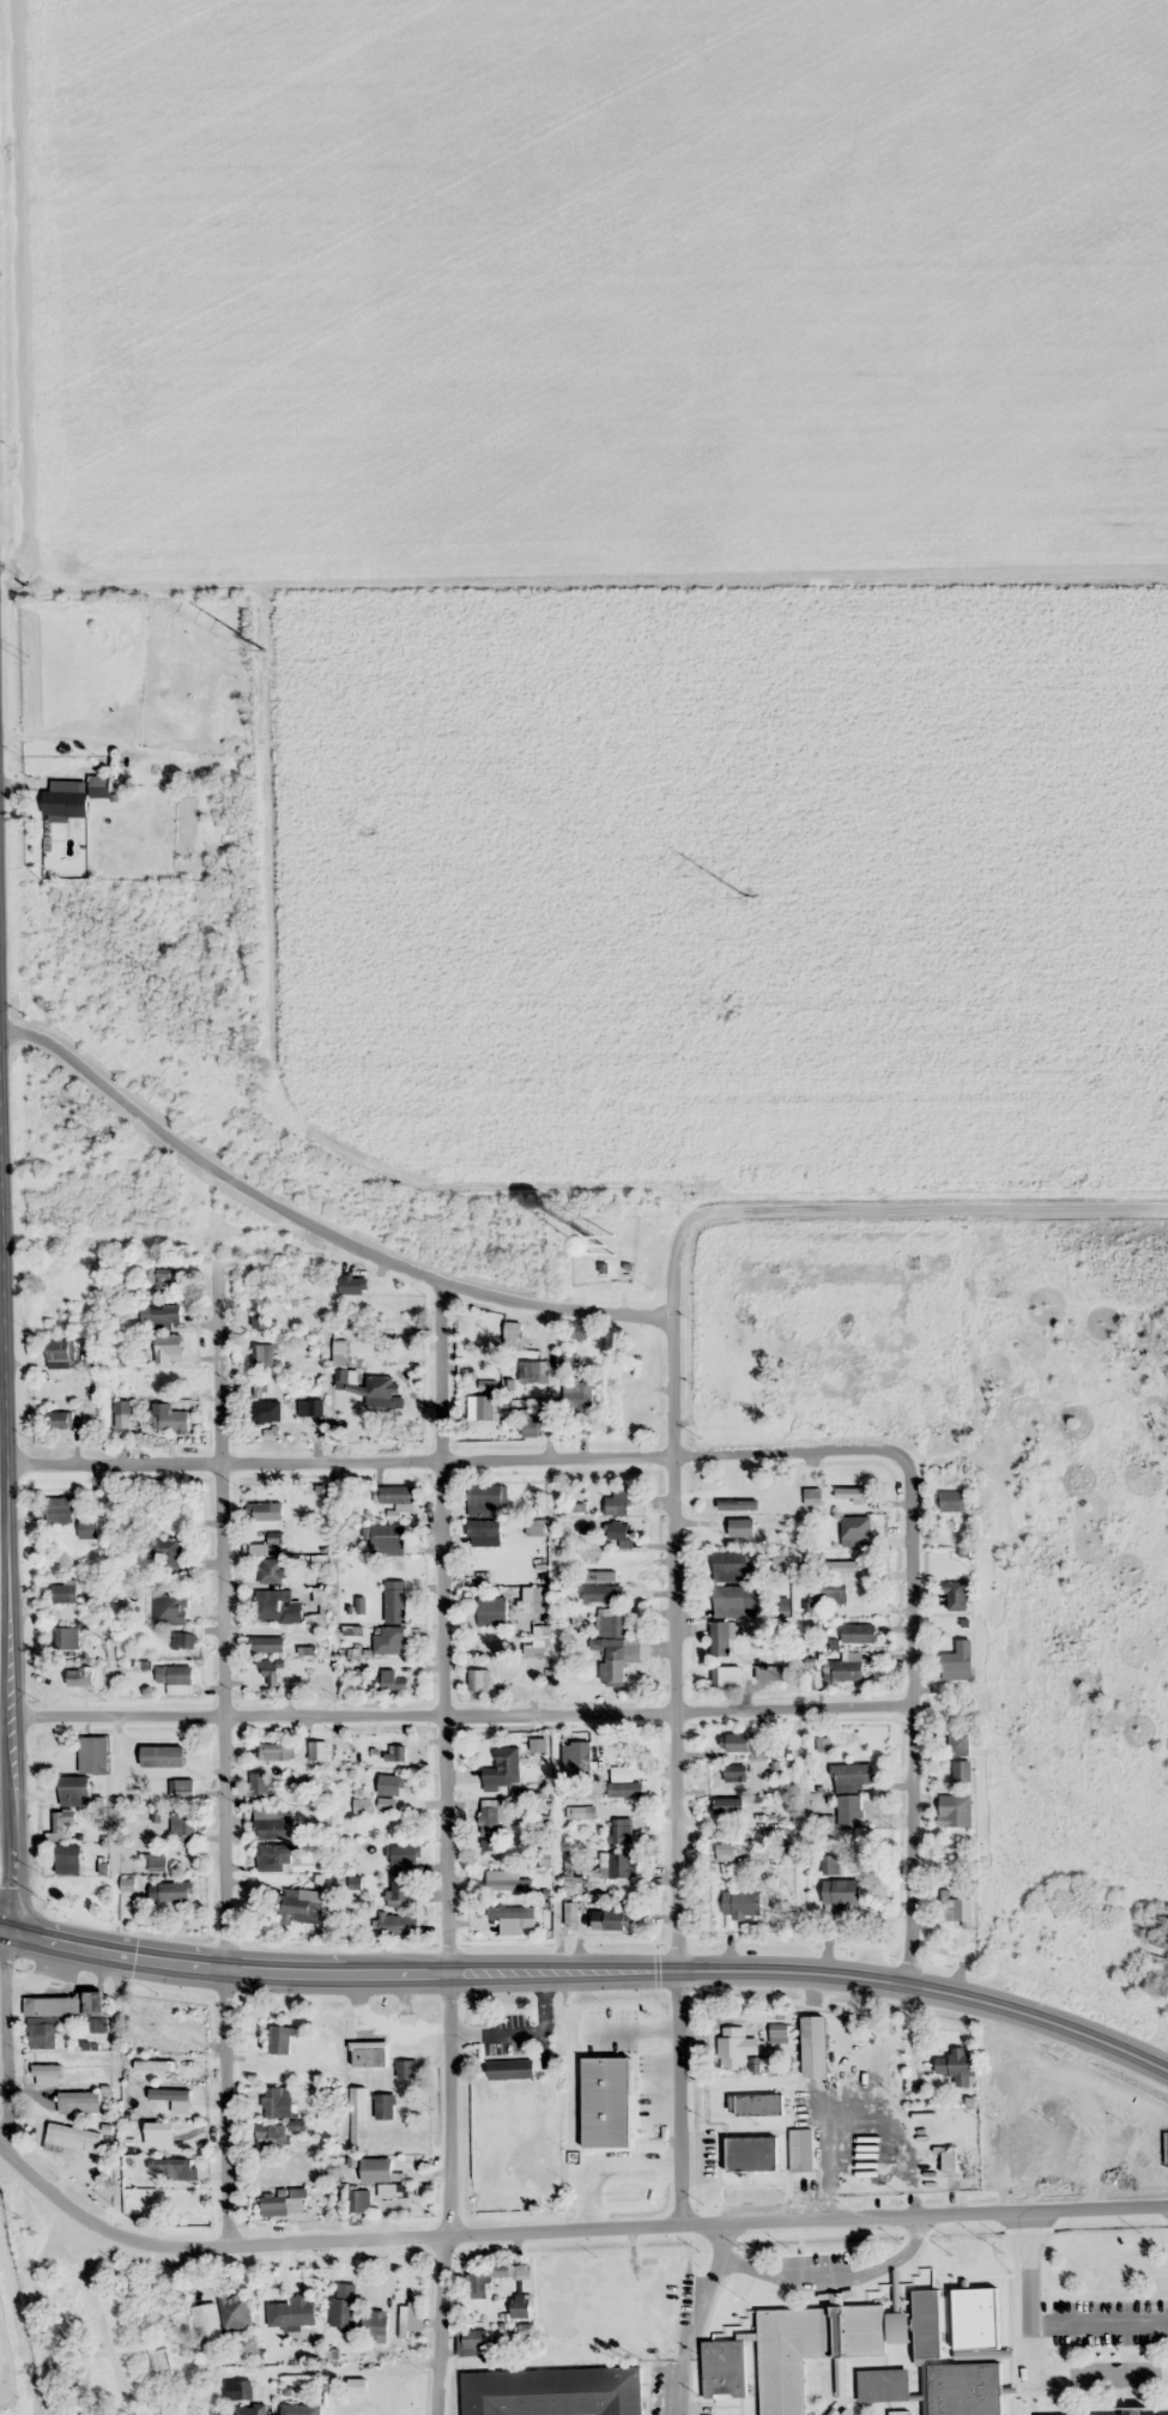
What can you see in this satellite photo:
power tower: (264, 650)
power tower: (23, 657)
building: (98, 786)
building: (65, 804)
power tower: (364, 831)
power tower: (748, 896)
power tower: (720, 1009)
power tower: (1076, 1188)
road: (926, 1208)
road: (313, 1226)
road: (176, 1232)
building: (605, 1251)
building: (159, 1275)
building: (353, 1286)
building: (58, 1315)
building: (159, 1316)
building: (261, 1321)
building: (577, 1330)
building: (167, 1347)
building: (60, 1354)
building: (264, 1356)
building: (532, 1373)
building: (364, 1383)
road: (577, 1383)
building: (583, 1391)
building: (765, 1399)
building: (483, 1406)
building: (309, 1408)
building: (266, 1413)
building: (122, 1414)
building: (169, 1419)
building: (635, 1419)
building: (58, 1420)
building: (531, 1429)
road: (793, 1451)
road: (341, 1462)
road: (8, 1480)
building: (851, 1492)
building: (395, 1493)
building: (812, 1496)
building: (486, 1501)
building: (951, 1501)
building: (617, 1503)
building: (59, 1509)
building: (266, 1510)
building: (742, 1527)
building: (534, 1528)
building: (87, 1529)
building: (619, 1530)
building: (855, 1530)
building: (483, 1533)
building: (387, 1539)
building: (165, 1553)
building: (730, 1566)
building: (270, 1570)
building: (840, 1580)
building: (63, 1593)
building: (601, 1593)
road: (676, 1594)
building: (957, 1595)
road: (223, 1599)
building: (394, 1601)
building: (728, 1601)
building: (273, 1604)
building: (169, 1607)
building: (492, 1611)
building: (613, 1626)
road: (443, 1630)
building: (858, 1634)
building: (66, 1637)
building: (183, 1640)
building: (389, 1640)
building: (720, 1640)
building: (266, 1643)
building: (612, 1661)
building: (958, 1661)
building: (842, 1670)
building: (270, 1672)
building: (769, 1673)
building: (80, 1677)
building: (726, 1677)
building: (175, 1678)
building: (391, 1680)
building: (477, 1680)
road: (915, 1688)
road: (464, 1715)
building: (738, 1743)
building: (958, 1744)
building: (537, 1745)
building: (276, 1750)
building: (317, 1751)
building: (397, 1752)
building: (99, 1755)
building: (182, 1761)
building: (503, 1768)
building: (734, 1771)
building: (961, 1771)
building: (851, 1776)
building: (391, 1785)
building: (73, 1786)
building: (177, 1787)
building: (260, 1787)
building: (624, 1789)
building: (727, 1806)
building: (955, 1810)
building: (848, 1811)
building: (580, 1812)
building: (63, 1821)
building: (489, 1821)
building: (323, 1822)
building: (184, 1823)
building: (273, 1824)
building: (622, 1830)
building: (488, 1845)
building: (733, 1851)
building: (406, 1855)
building: (274, 1858)
building: (67, 1859)
building: (156, 1862)
building: (617, 1865)
building: (830, 1865)
building: (508, 1882)
building: (573, 1885)
building: (71, 1886)
building: (399, 1886)
building: (171, 1891)
building: (841, 1892)
building: (742, 1903)
building: (299, 1906)
building: (956, 1910)
building: (513, 1918)
building: (611, 1919)
building: (395, 1924)
road: (109, 1951)
road: (817, 1970)
road: (337, 1973)
building: (1145, 1985)
building: (93, 2002)
building: (53, 2006)
building: (177, 2031)
building: (43, 2035)
road: (5, 2040)
building: (279, 2040)
building: (813, 2046)
building: (733, 2049)
building: (369, 2054)
building: (605, 2057)
building: (956, 2063)
building: (406, 2069)
building: (509, 2070)
building: (46, 2075)
road: (679, 2096)
building: (277, 2102)
building: (755, 2105)
building: (383, 2106)
road: (224, 2107)
building: (357, 2118)
building: (271, 2137)
building: (183, 2143)
building: (1166, 2149)
building: (800, 2150)
building: (751, 2153)
building: (1077, 2154)
building: (949, 2161)
building: (173, 2168)
building: (379, 2174)
road: (448, 2197)
building: (358, 2200)
building: (283, 2202)
building: (187, 2208)
road: (806, 2220)
road: (207, 2247)
building: (498, 2269)
building: (478, 2282)
building: (522, 2305)
building: (344, 2308)
building: (235, 2311)
building: (291, 2312)
building: (206, 2325)
building: (375, 2325)
building: (897, 2328)
building: (524, 2330)
building: (472, 2342)
building: (810, 2348)
building: (161, 2363)
building: (724, 2368)
building: (951, 2372)
building: (243, 2390)
building: (552, 2392)
building: (292, 2409)
building: (248, 2410)
building: (900, 2414)

